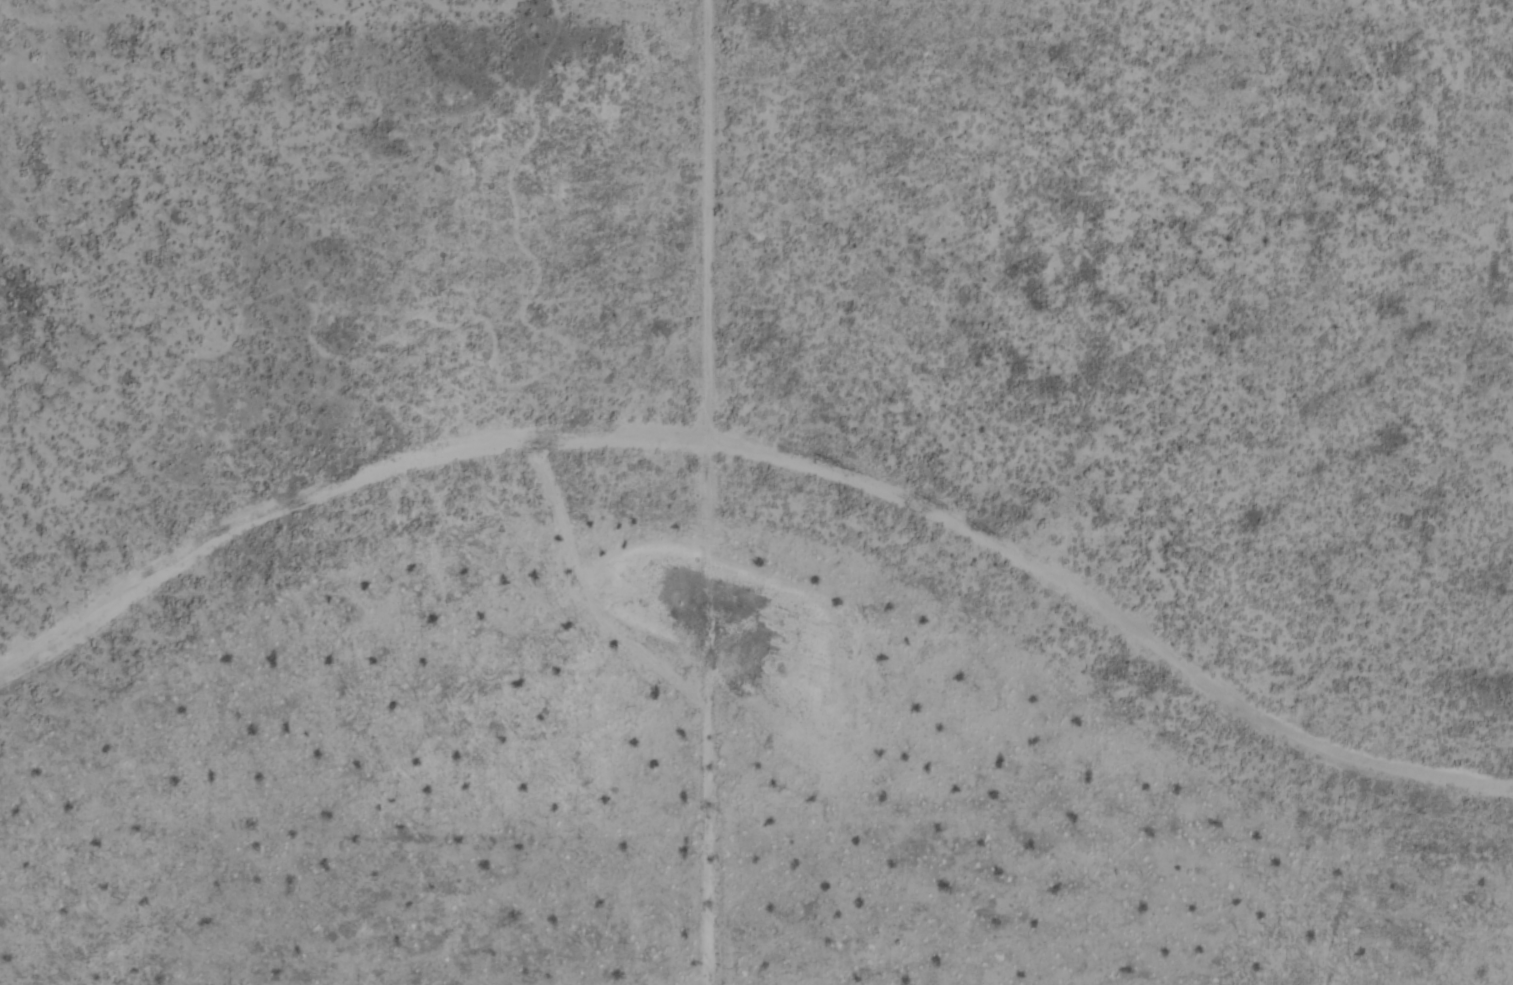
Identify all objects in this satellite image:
road: (705, 492)

